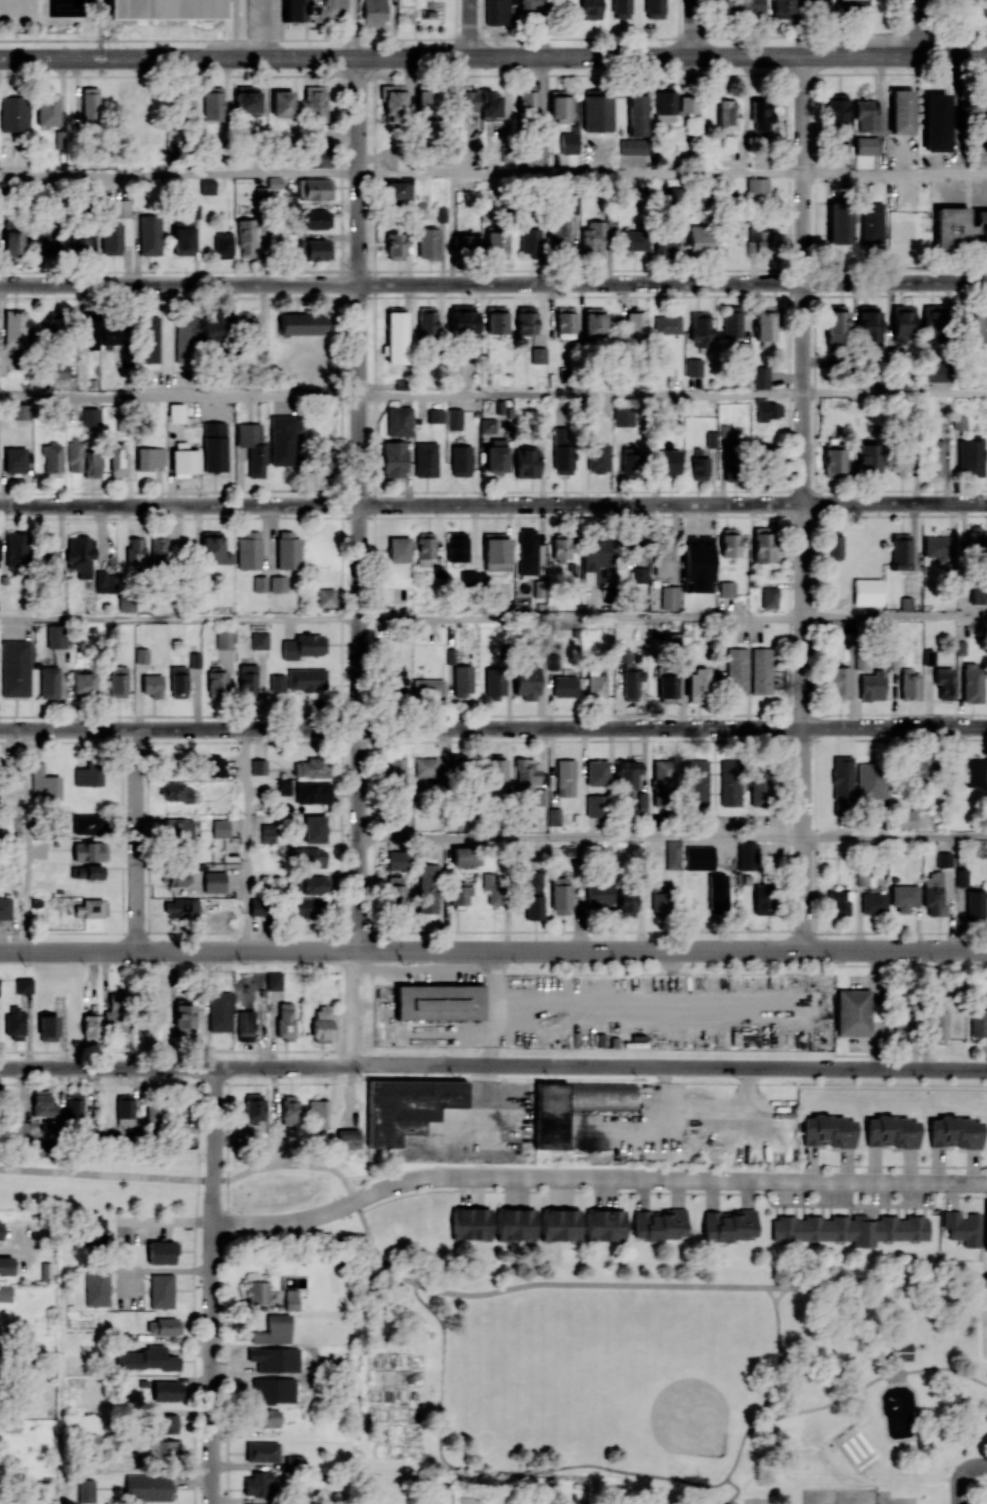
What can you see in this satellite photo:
building: (561, 1)
building: (853, 2)
building: (817, 4)
building: (527, 5)
building: (722, 7)
building: (782, 8)
building: (164, 9)
building: (591, 9)
building: (620, 9)
building: (654, 9)
building: (315, 10)
building: (372, 12)
building: (497, 12)
road: (921, 27)
road: (270, 28)
road: (356, 28)
road: (470, 28)
road: (695, 28)
road: (99, 37)
road: (493, 56)
traffic signals: (100, 57)
road: (493, 74)
building: (462, 98)
building: (182, 100)
building: (246, 100)
building: (526, 101)
building: (393, 102)
building: (427, 102)
building: (282, 103)
building: (314, 103)
building: (664, 103)
building: (213, 104)
building: (490, 104)
building: (688, 104)
building: (90, 106)
building: (559, 106)
building: (835, 108)
building: (983, 108)
building: (48, 110)
building: (597, 111)
building: (901, 111)
building: (14, 113)
building: (637, 114)
building: (726, 114)
building: (866, 114)
building: (760, 115)
building: (936, 122)
building: (59, 139)
building: (569, 142)
building: (633, 145)
building: (842, 150)
building: (535, 154)
building: (322, 157)
building: (761, 160)
road: (179, 174)
road: (581, 174)
road: (895, 174)
building: (207, 186)
building: (316, 188)
building: (756, 188)
building: (398, 190)
building: (673, 200)
building: (121, 208)
building: (315, 219)
building: (839, 222)
building: (871, 222)
building: (981, 224)
building: (951, 227)
building: (149, 234)
building: (182, 236)
building: (246, 238)
building: (559, 238)
building: (699, 238)
building: (111, 239)
building: (592, 239)
building: (496, 240)
building: (634, 240)
building: (756, 240)
building: (530, 241)
building: (428, 242)
building: (665, 242)
building: (12, 243)
building: (80, 243)
building: (464, 243)
building: (223, 244)
building: (395, 245)
building: (314, 249)
road: (493, 283)
building: (462, 318)
building: (496, 319)
building: (526, 319)
building: (902, 320)
building: (594, 321)
building: (731, 321)
building: (244, 322)
building: (426, 322)
building: (565, 322)
building: (300, 323)
building: (868, 323)
building: (933, 323)
building: (52, 324)
building: (636, 324)
building: (667, 324)
building: (835, 324)
building: (763, 325)
building: (15, 328)
building: (213, 328)
building: (973, 328)
building: (700, 329)
building: (88, 331)
building: (110, 334)
building: (395, 338)
building: (148, 339)
building: (184, 339)
building: (538, 352)
building: (123, 358)
building: (694, 367)
building: (59, 371)
building: (937, 373)
building: (760, 377)
road: (895, 394)
road: (581, 395)
road: (179, 396)
building: (767, 410)
building: (176, 412)
building: (435, 415)
building: (623, 415)
building: (90, 416)
building: (454, 418)
building: (399, 421)
building: (487, 425)
building: (711, 438)
building: (282, 439)
building: (214, 446)
building: (252, 447)
building: (562, 448)
building: (74, 456)
building: (496, 456)
building: (598, 457)
building: (629, 457)
building: (970, 457)
building: (117, 458)
building: (147, 458)
building: (394, 458)
building: (934, 458)
building: (15, 459)
building: (184, 459)
building: (425, 459)
building: (771, 459)
building: (867, 459)
building: (52, 460)
building: (461, 460)
building: (326, 462)
building: (526, 462)
building: (668, 462)
building: (91, 463)
building: (833, 463)
building: (900, 463)
building: (699, 465)
road: (803, 503)
road: (493, 504)
road: (360, 505)
building: (976, 539)
building: (729, 542)
building: (763, 544)
building: (832, 545)
building: (158, 546)
building: (456, 546)
building: (694, 547)
building: (937, 547)
building: (214, 548)
building: (425, 548)
building: (561, 548)
building: (399, 549)
building: (249, 550)
building: (287, 550)
building: (16, 551)
building: (49, 551)
building: (136, 551)
building: (496, 551)
building: (527, 551)
building: (663, 551)
building: (900, 552)
building: (80, 555)
building: (632, 555)
building: (595, 560)
building: (639, 574)
building: (468, 577)
building: (106, 582)
building: (260, 583)
building: (278, 583)
building: (867, 592)
building: (977, 594)
building: (326, 597)
building: (670, 597)
building: (768, 597)
road: (895, 615)
road: (180, 616)
road: (581, 616)
building: (55, 636)
building: (259, 639)
building: (224, 640)
building: (303, 646)
building: (142, 655)
building: (928, 657)
building: (194, 659)
building: (15, 668)
building: (736, 670)
building: (760, 670)
building: (247, 677)
building: (178, 679)
building: (306, 679)
building: (395, 680)
building: (463, 680)
building: (526, 680)
building: (118, 681)
building: (49, 682)
building: (495, 682)
building: (632, 682)
building: (667, 682)
building: (836, 682)
building: (944, 682)
building: (972, 682)
building: (83, 683)
building: (277, 683)
building: (598, 683)
building: (216, 684)
building: (152, 685)
building: (872, 685)
building: (909, 685)
building: (565, 686)
building: (697, 686)
building: (428, 689)
building: (247, 695)
road: (493, 728)
building: (214, 766)
building: (258, 766)
building: (921, 766)
building: (312, 767)
building: (395, 767)
building: (425, 767)
building: (495, 767)
building: (527, 770)
building: (972, 772)
building: (597, 773)
building: (88, 774)
building: (628, 775)
building: (566, 777)
building: (871, 780)
building: (698, 782)
building: (44, 783)
building: (661, 783)
building: (730, 783)
building: (842, 784)
building: (284, 786)
building: (759, 787)
building: (177, 792)
building: (313, 792)
building: (595, 806)
building: (554, 816)
building: (903, 819)
building: (87, 824)
building: (178, 828)
building: (220, 828)
building: (315, 828)
building: (268, 832)
road: (895, 836)
road: (581, 837)
road: (26, 841)
road: (136, 841)
road: (246, 841)
building: (90, 851)
building: (464, 855)
building: (673, 855)
building: (747, 855)
building: (310, 856)
building: (699, 857)
building: (944, 859)
building: (397, 860)
building: (93, 870)
building: (77, 871)
building: (177, 877)
building: (961, 877)
building: (864, 878)
building: (214, 882)
building: (312, 884)
building: (428, 888)
building: (493, 888)
building: (395, 889)
building: (717, 893)
building: (599, 894)
building: (933, 894)
building: (460, 895)
building: (534, 895)
building: (560, 895)
building: (903, 897)
building: (658, 898)
building: (762, 899)
building: (839, 902)
building: (873, 902)
building: (975, 903)
building: (181, 906)
building: (258, 906)
building: (309, 907)
building: (5, 908)
building: (91, 908)
road: (671, 951)
road: (178, 953)
road: (424, 969)
building: (274, 980)
building: (23, 985)
building: (438, 1003)
road: (351, 1009)
building: (217, 1011)
building: (115, 1013)
building: (848, 1013)
building: (184, 1018)
building: (285, 1021)
building: (15, 1022)
building: (321, 1023)
building: (978, 1023)
building: (245, 1025)
building: (901, 1025)
building: (91, 1026)
building: (48, 1027)
building: (938, 1028)
road: (453, 1031)
road: (491, 1048)
road: (599, 1066)
road: (106, 1068)
building: (599, 1096)
building: (42, 1104)
building: (891, 1104)
building: (74, 1107)
building: (253, 1107)
building: (407, 1108)
building: (124, 1109)
building: (179, 1109)
building: (289, 1109)
building: (317, 1114)
building: (549, 1116)
building: (828, 1131)
building: (891, 1131)
building: (956, 1132)
building: (345, 1138)
road: (313, 1165)
road: (106, 1175)
road: (595, 1178)
road: (167, 1223)
building: (470, 1223)
building: (515, 1223)
building: (560, 1224)
building: (604, 1224)
building: (659, 1224)
building: (729, 1225)
building: (963, 1227)
building: (1, 1229)
building: (850, 1229)
building: (986, 1230)
building: (92, 1231)
road: (291, 1240)
road: (10, 1247)
building: (162, 1252)
building: (6, 1265)
road: (169, 1271)
road: (881, 1280)
road: (564, 1283)
road: (212, 1286)
building: (97, 1288)
building: (161, 1290)
building: (257, 1292)
building: (5, 1293)
road: (770, 1294)
road: (780, 1294)
building: (291, 1299)
building: (168, 1326)
building: (274, 1329)
park: (983, 1331)
park: (562, 1341)
building: (899, 1350)
building: (144, 1359)
road: (779, 1372)
park: (680, 1376)
road: (864, 1385)
building: (260, 1386)
building: (167, 1391)
building: (795, 1391)
road: (868, 1407)
park: (562, 1408)
building: (265, 1418)
building: (166, 1423)
road: (867, 1438)
road: (896, 1439)
park: (702, 1443)
road: (860, 1443)
road: (884, 1443)
road: (853, 1448)
building: (162, 1451)
building: (262, 1451)
road: (847, 1453)
road: (738, 1456)
road: (776, 1459)
building: (295, 1461)
road: (974, 1467)
road: (125, 1469)
road: (491, 1470)
building: (256, 1483)
road: (733, 1485)
building: (147, 1488)
road: (959, 1488)
building: (86, 1490)
park: (840, 1496)
road: (733, 1497)
park: (897, 1500)
park: (757, 1501)

